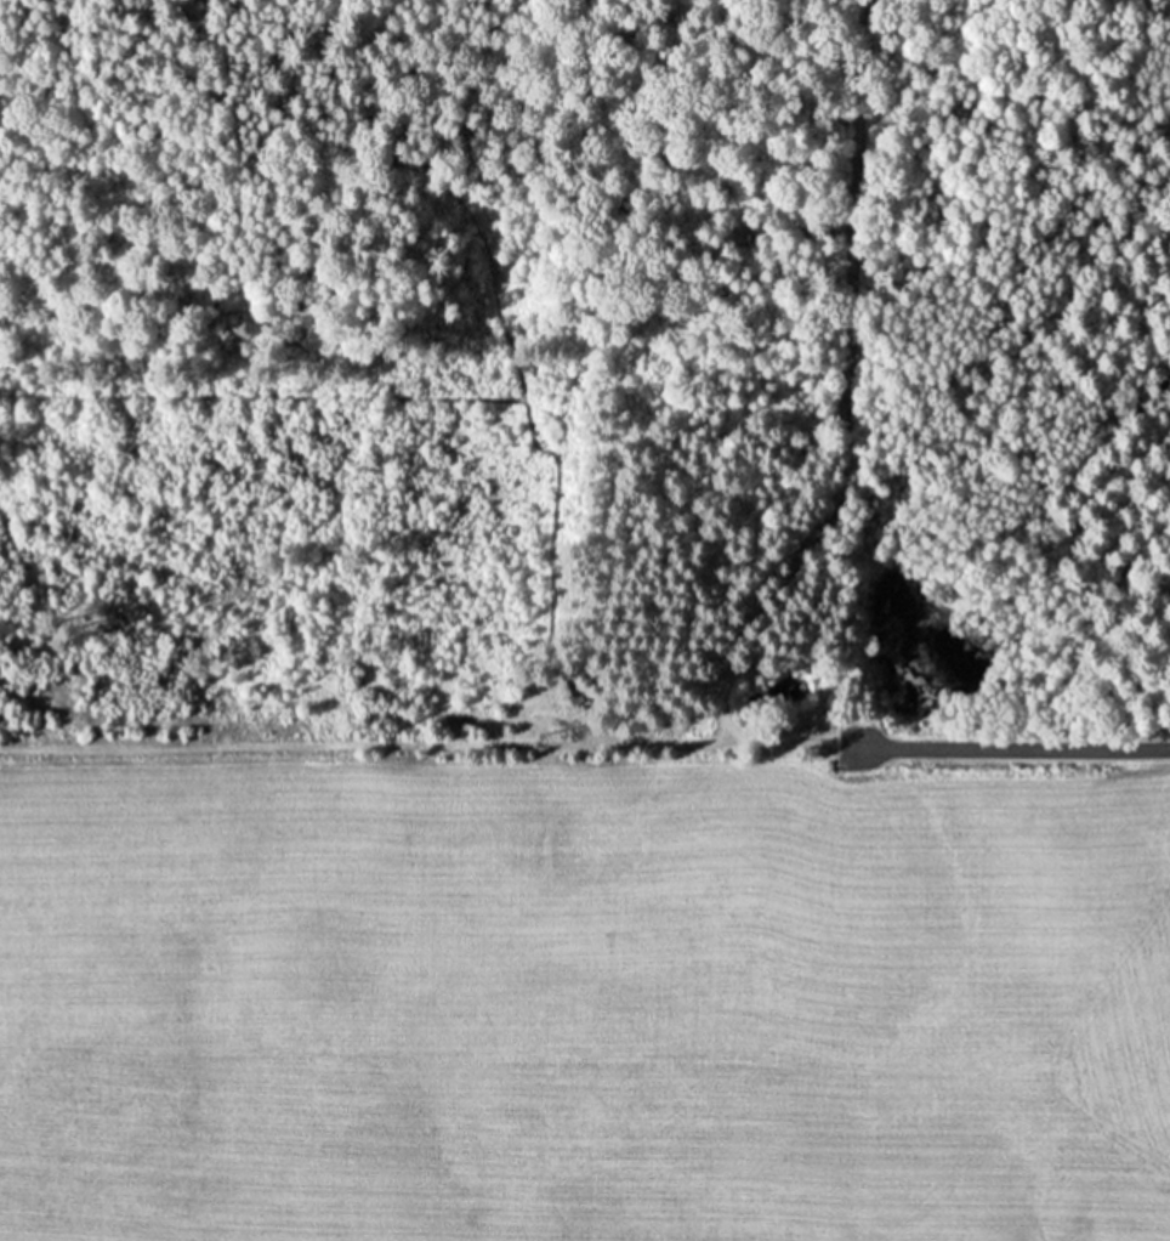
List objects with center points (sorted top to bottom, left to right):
building: (564, 686)
road: (367, 746)
road: (769, 746)
road: (1067, 748)

